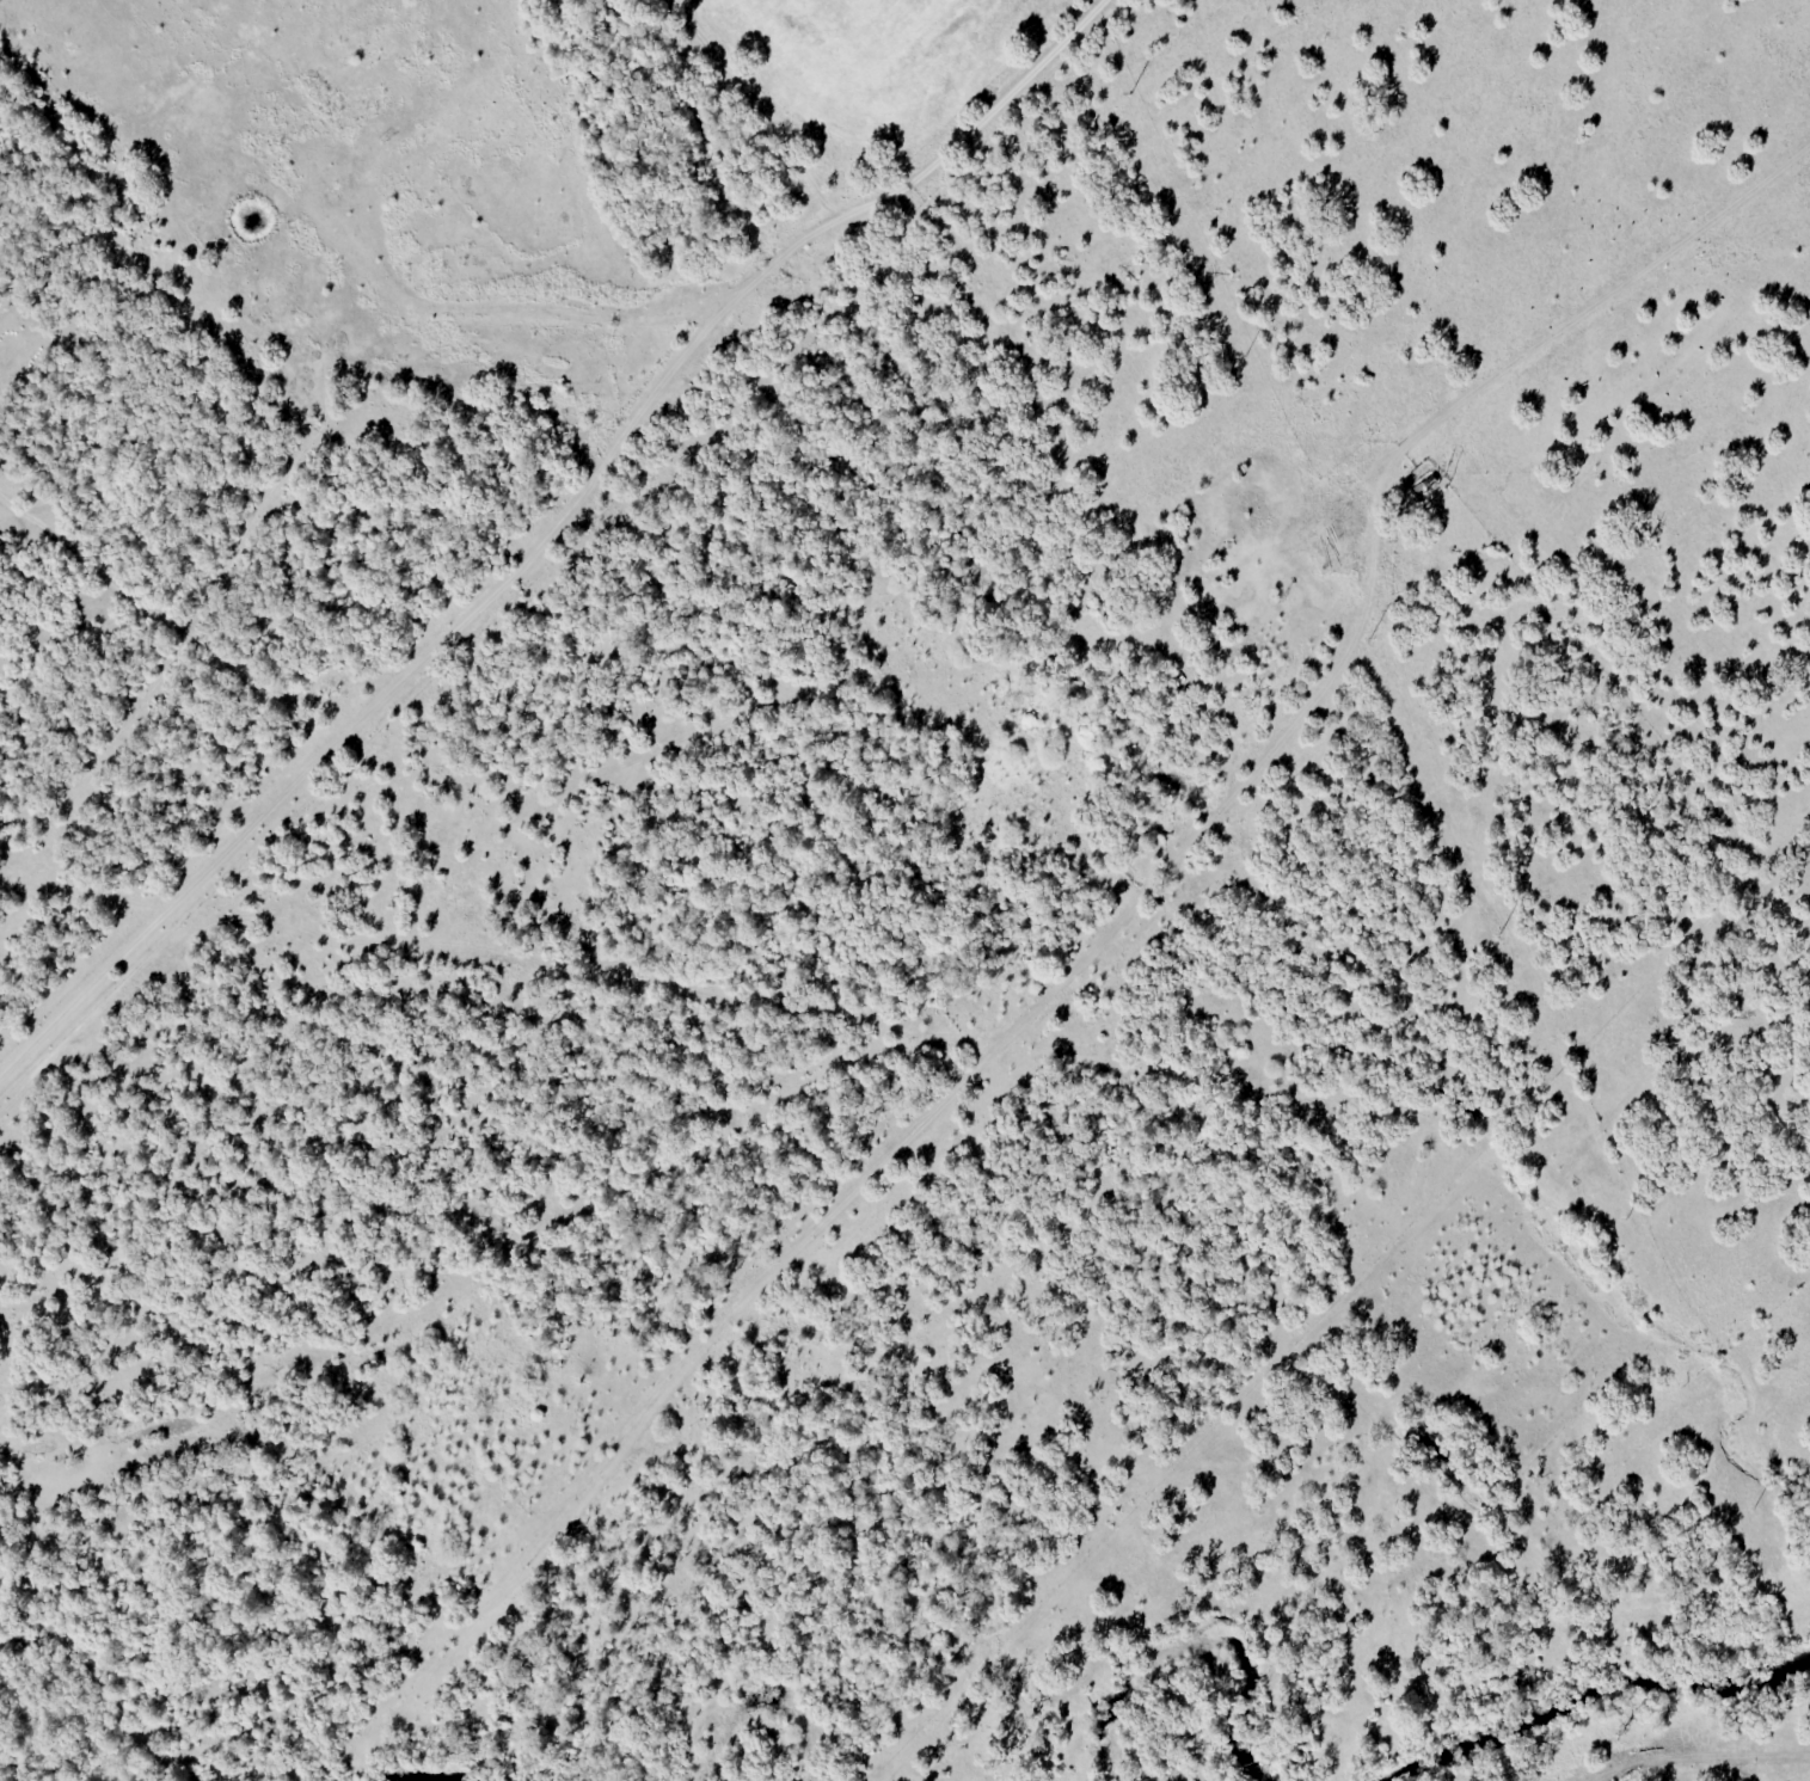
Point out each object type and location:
road: (613, 572)
road: (1151, 964)

